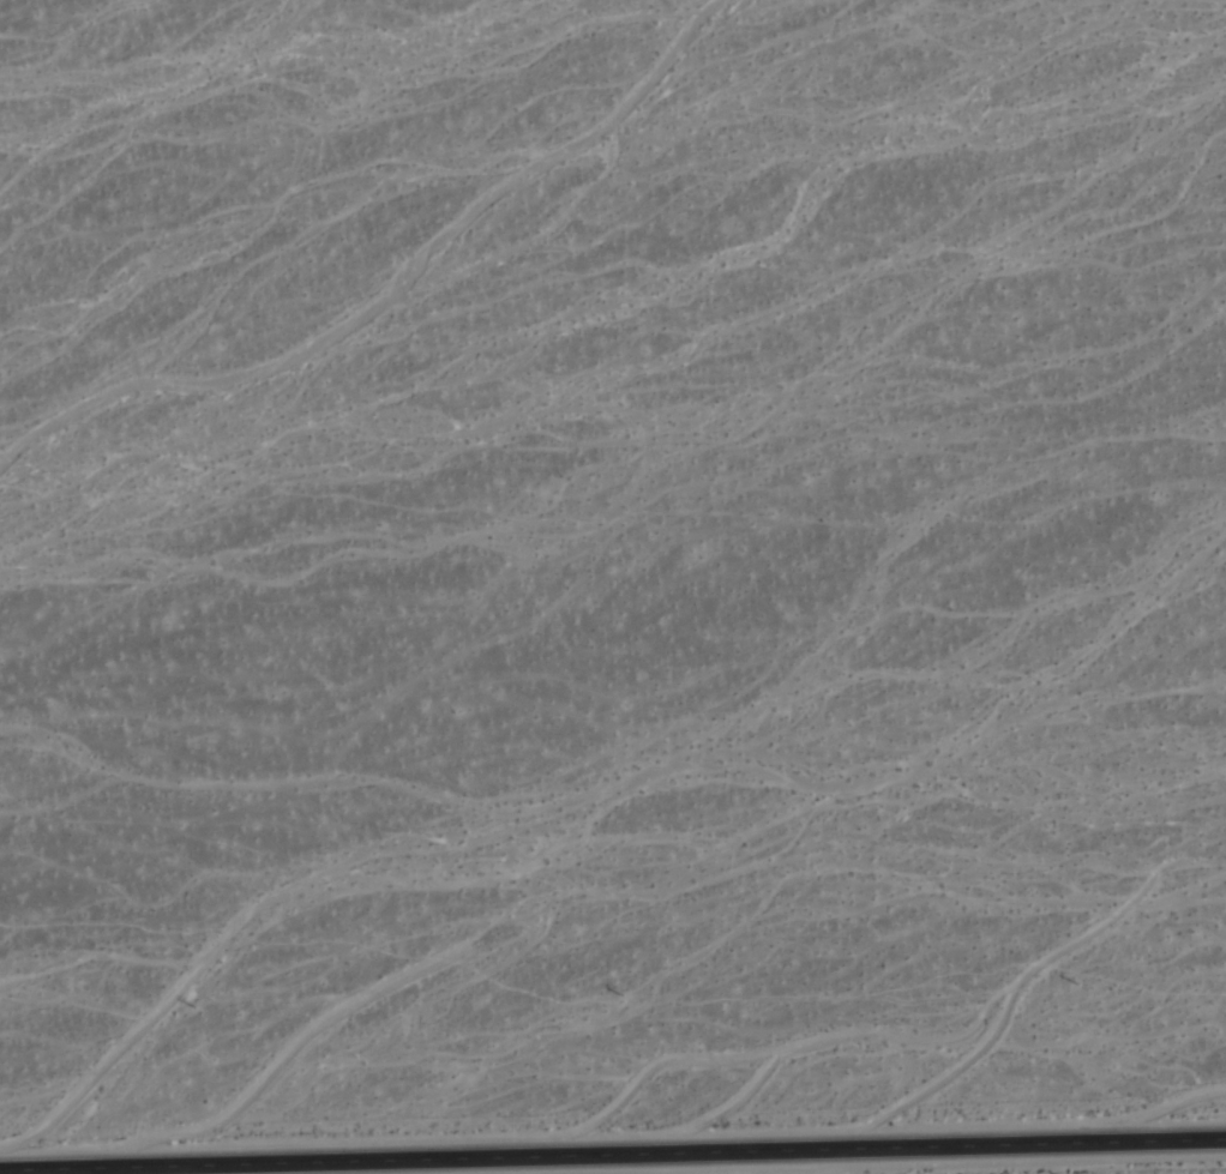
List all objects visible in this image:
road: (613, 1156)

